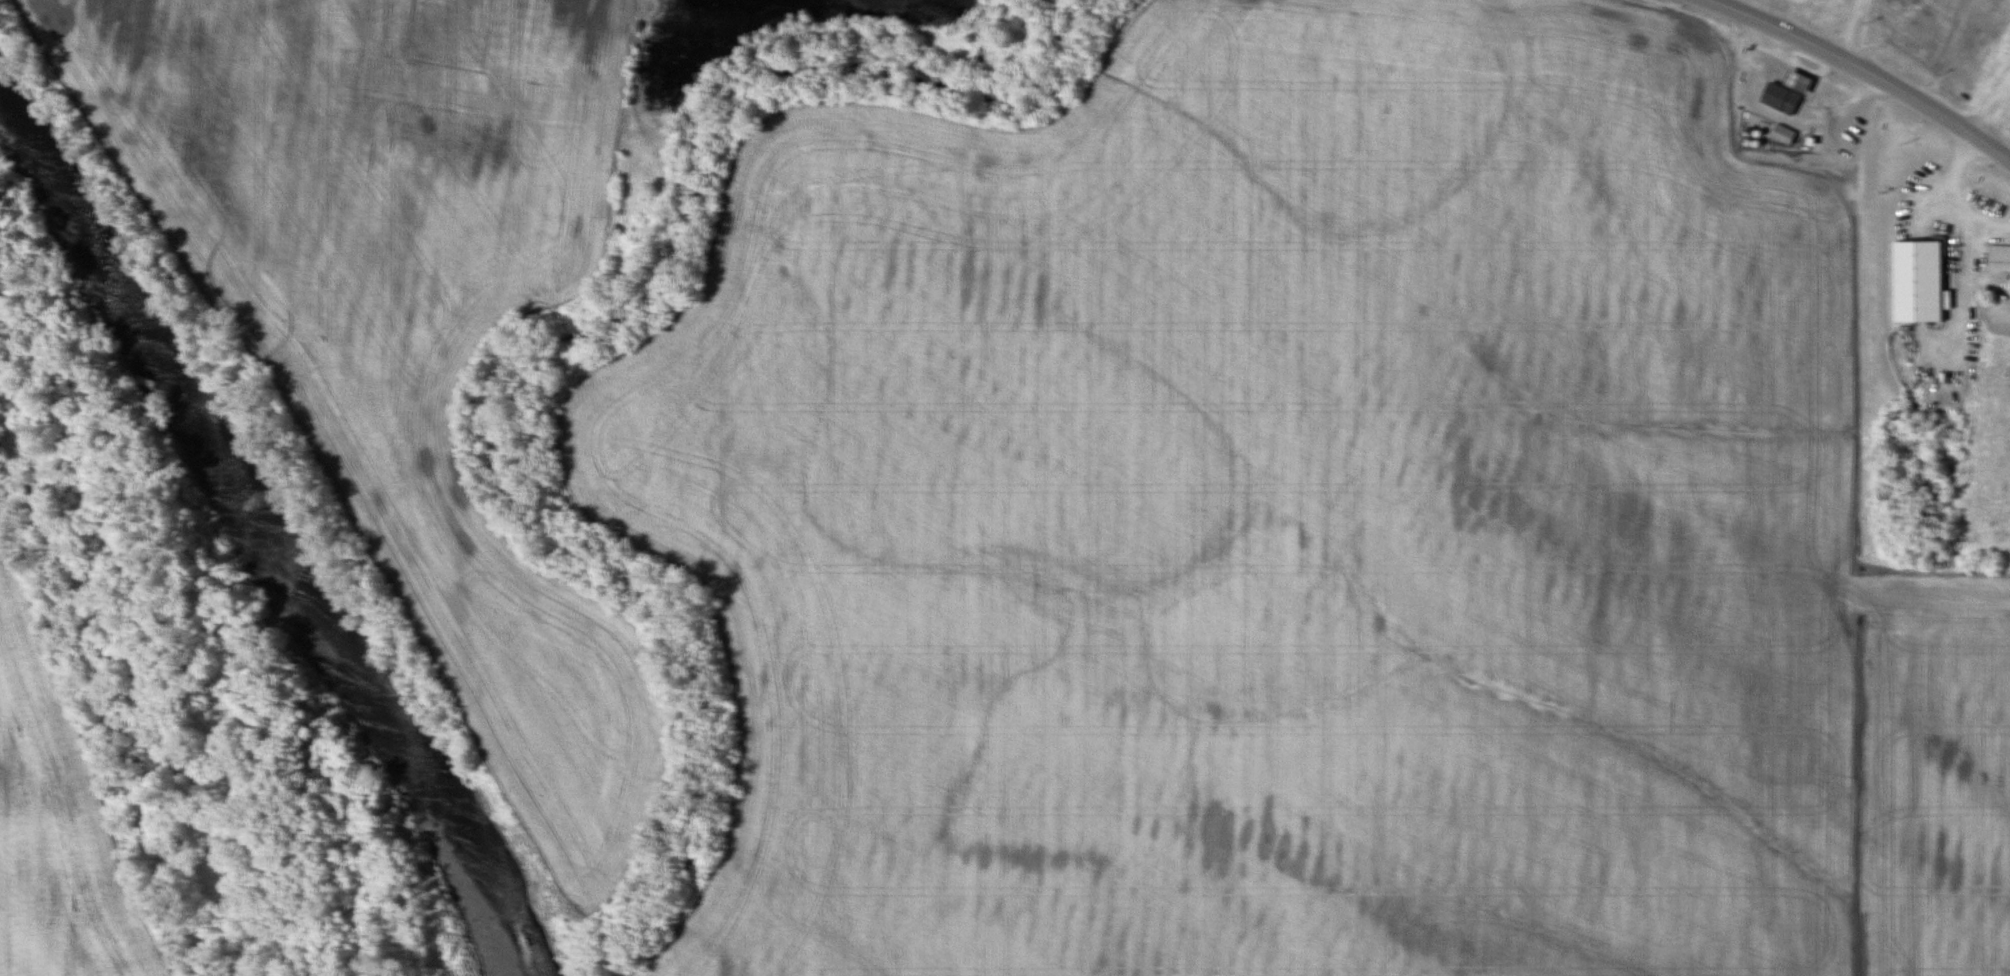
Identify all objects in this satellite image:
road: (1863, 69)
building: (1781, 92)
building: (1779, 134)
building: (1996, 258)
building: (1912, 281)
crop: (409, 320)
crop: (1307, 533)
river: (262, 547)
crop: (56, 817)

